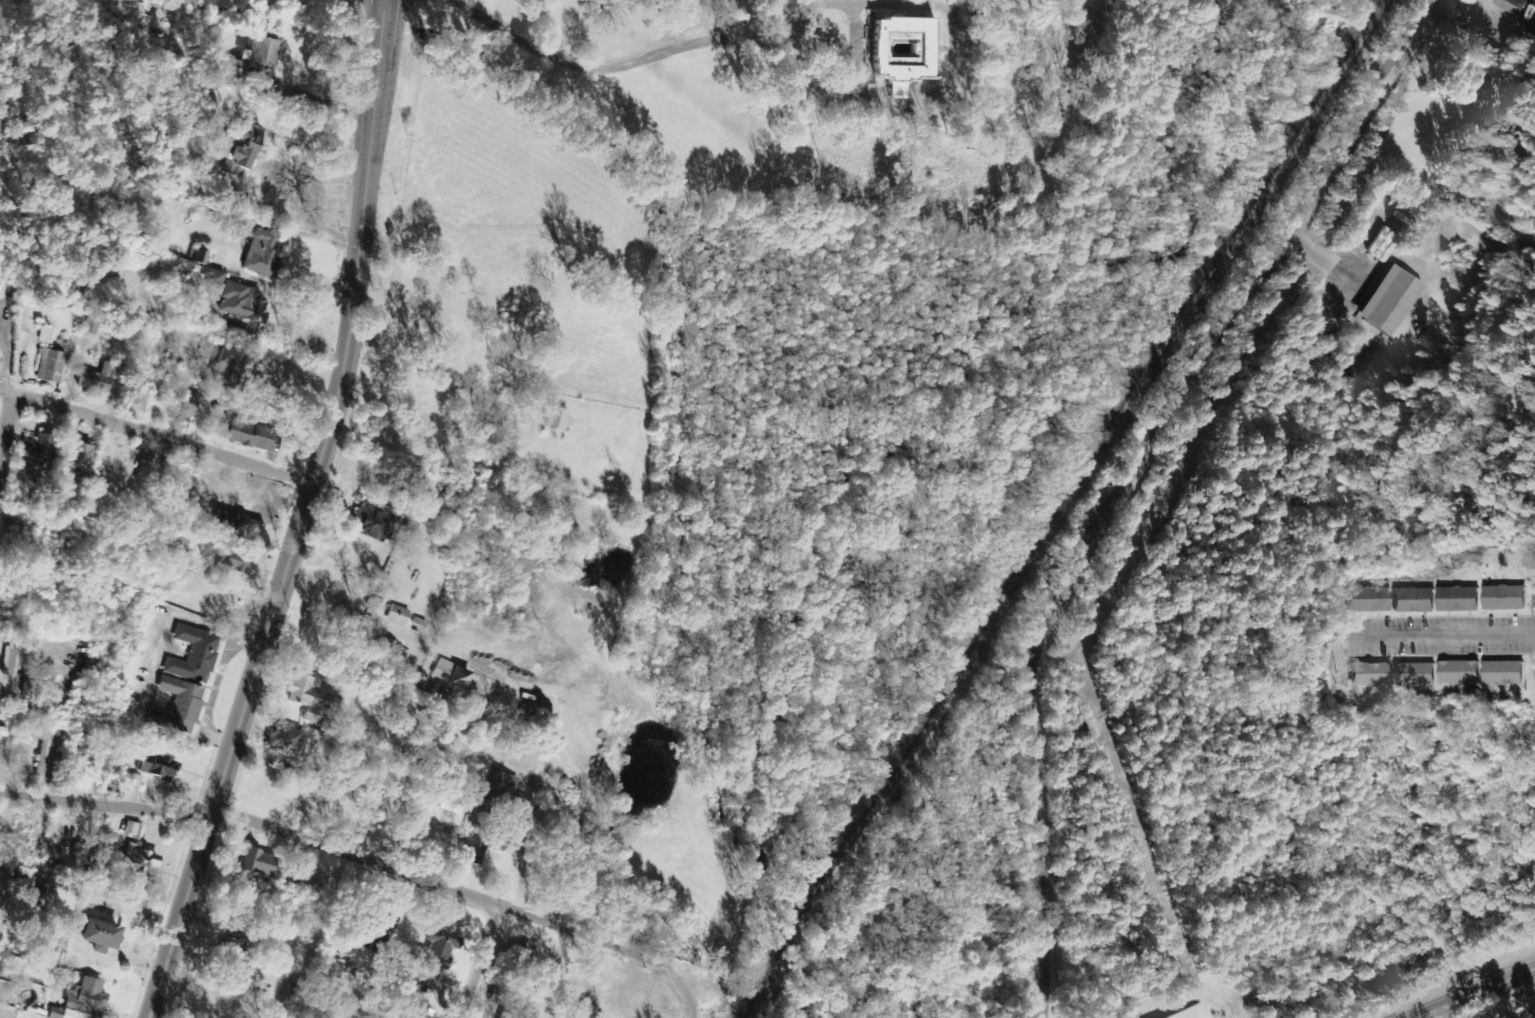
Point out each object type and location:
building: (1510, 6)
road: (932, 14)
building: (178, 38)
building: (900, 51)
building: (255, 54)
road: (592, 74)
building: (239, 152)
building: (256, 250)
building: (198, 257)
building: (212, 278)
building: (1386, 301)
building: (242, 305)
building: (43, 335)
building: (47, 366)
building: (224, 368)
building: (93, 379)
building: (554, 419)
road: (5, 426)
road: (153, 436)
building: (249, 436)
building: (42, 446)
building: (77, 456)
building: (145, 472)
road: (1129, 475)
railway: (1060, 508)
road: (296, 516)
building: (370, 524)
building: (237, 527)
building: (233, 562)
building: (1503, 598)
building: (1366, 600)
building: (1456, 600)
building: (1411, 601)
building: (396, 616)
road: (1441, 643)
building: (191, 654)
building: (11, 662)
building: (1458, 673)
building: (1502, 674)
building: (1369, 675)
building: (1414, 675)
building: (455, 679)
building: (309, 700)
building: (175, 707)
building: (5, 732)
building: (282, 739)
building: (153, 768)
building: (444, 804)
building: (131, 831)
road: (308, 846)
building: (472, 854)
building: (139, 862)
building: (256, 863)
building: (95, 935)
building: (378, 935)
building: (432, 954)
building: (517, 959)
road: (655, 959)
road: (479, 962)
road: (1472, 991)
building: (84, 1000)
road: (694, 1002)
building: (1189, 1013)

